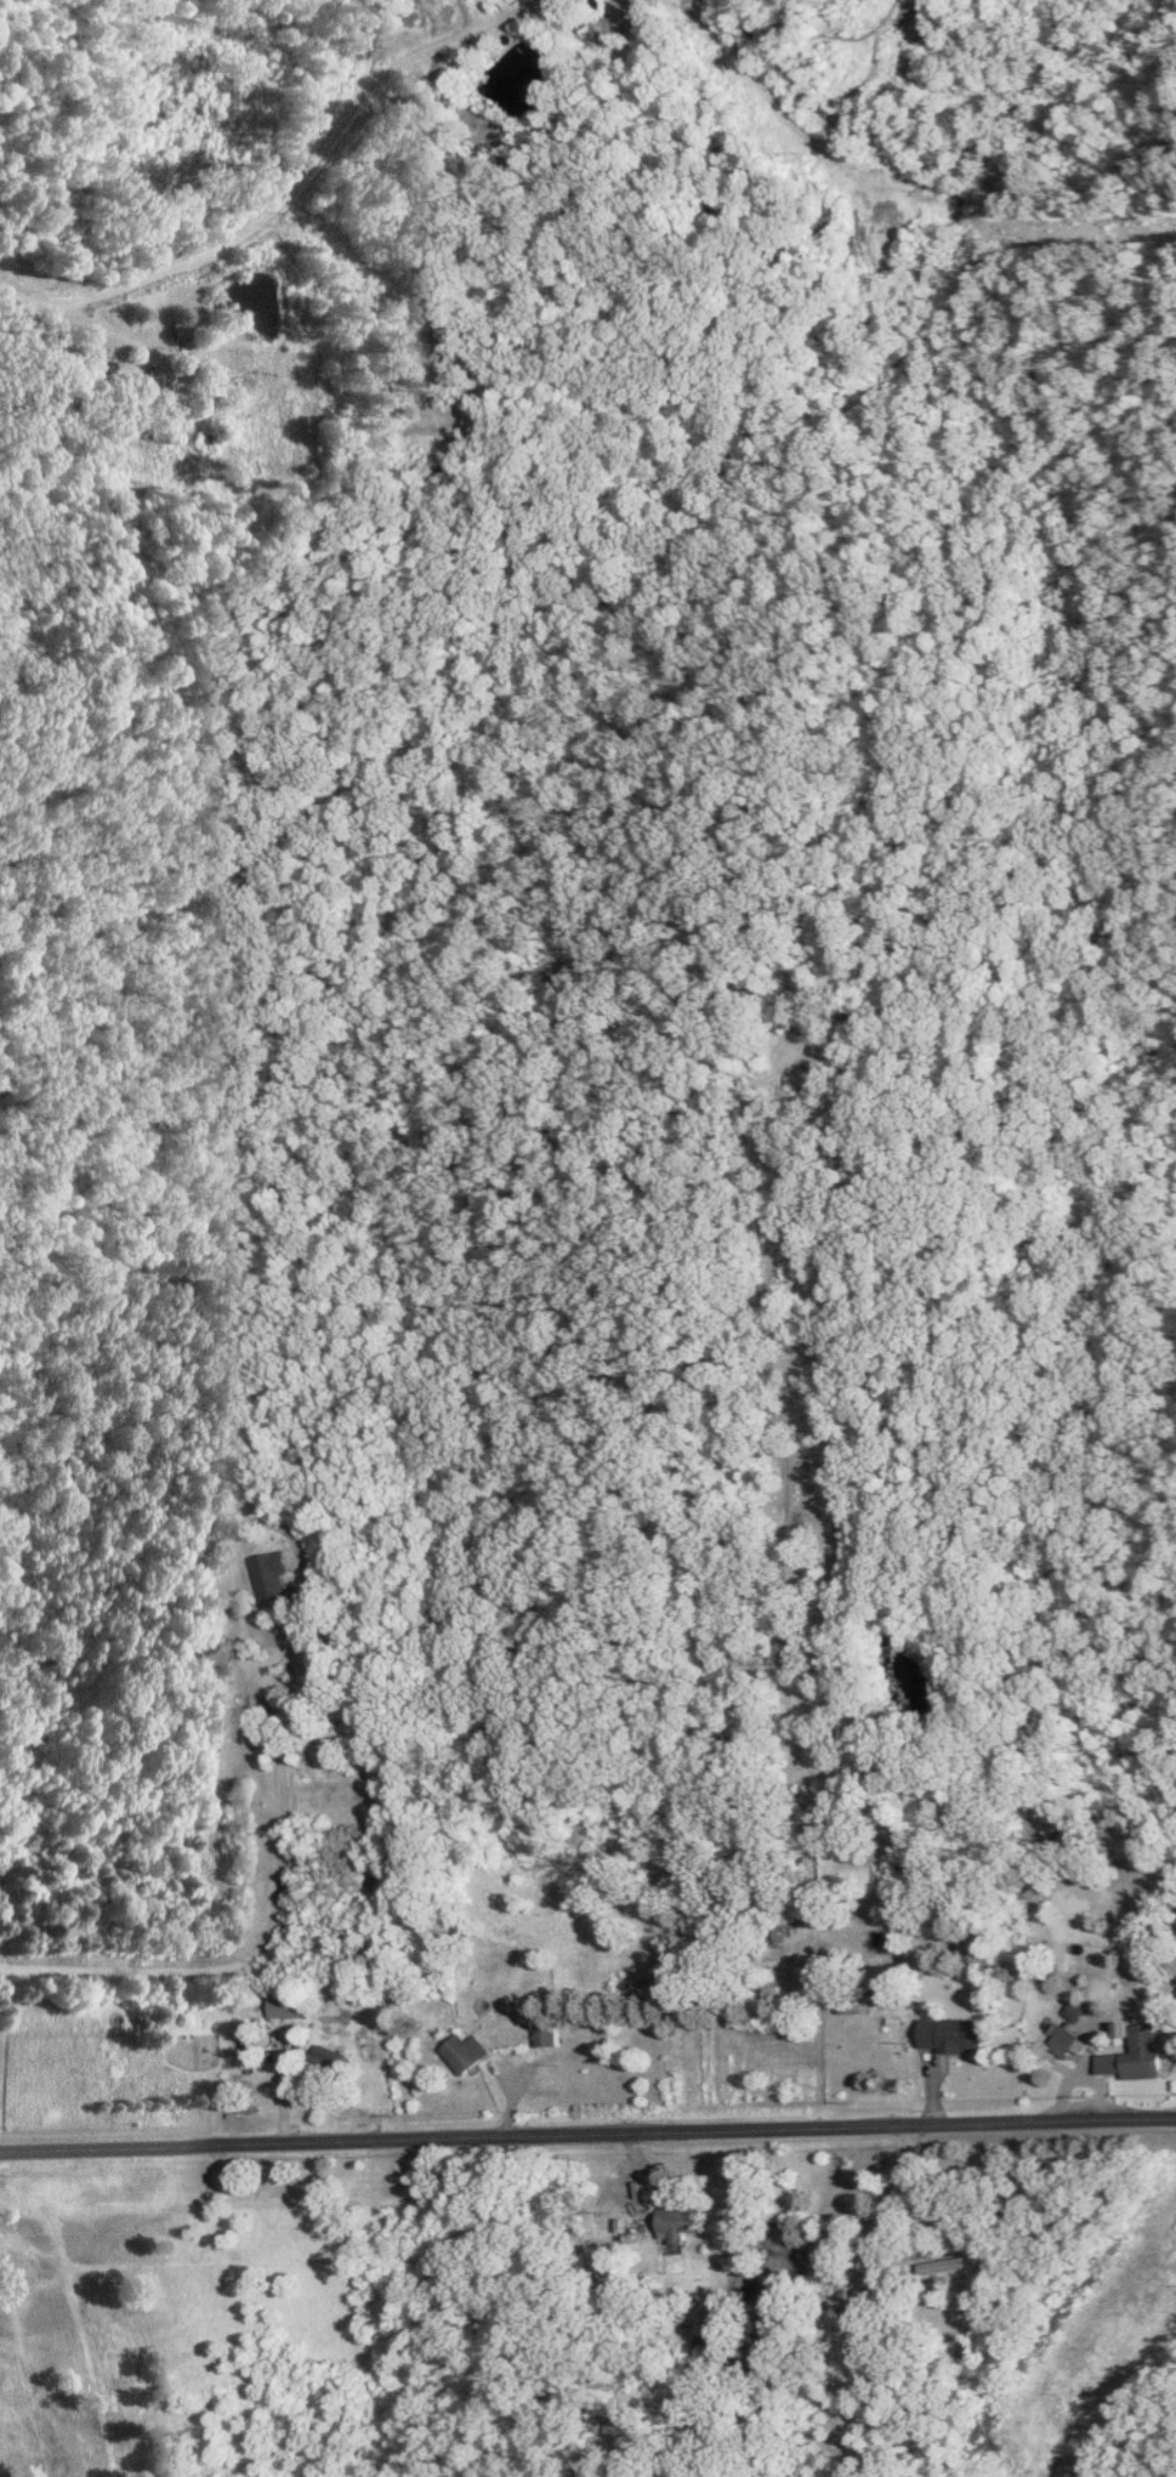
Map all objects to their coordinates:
road: (290, 189)
building: (182, 328)
building: (158, 393)
road: (272, 1523)
building: (273, 1578)
building: (208, 1655)
road: (267, 1942)
building: (292, 2006)
building: (552, 2034)
building: (958, 2035)
building: (1073, 2043)
building: (471, 2052)
building: (1141, 2053)
building: (335, 2062)
road: (587, 2134)
building: (682, 2226)
building: (959, 2266)

